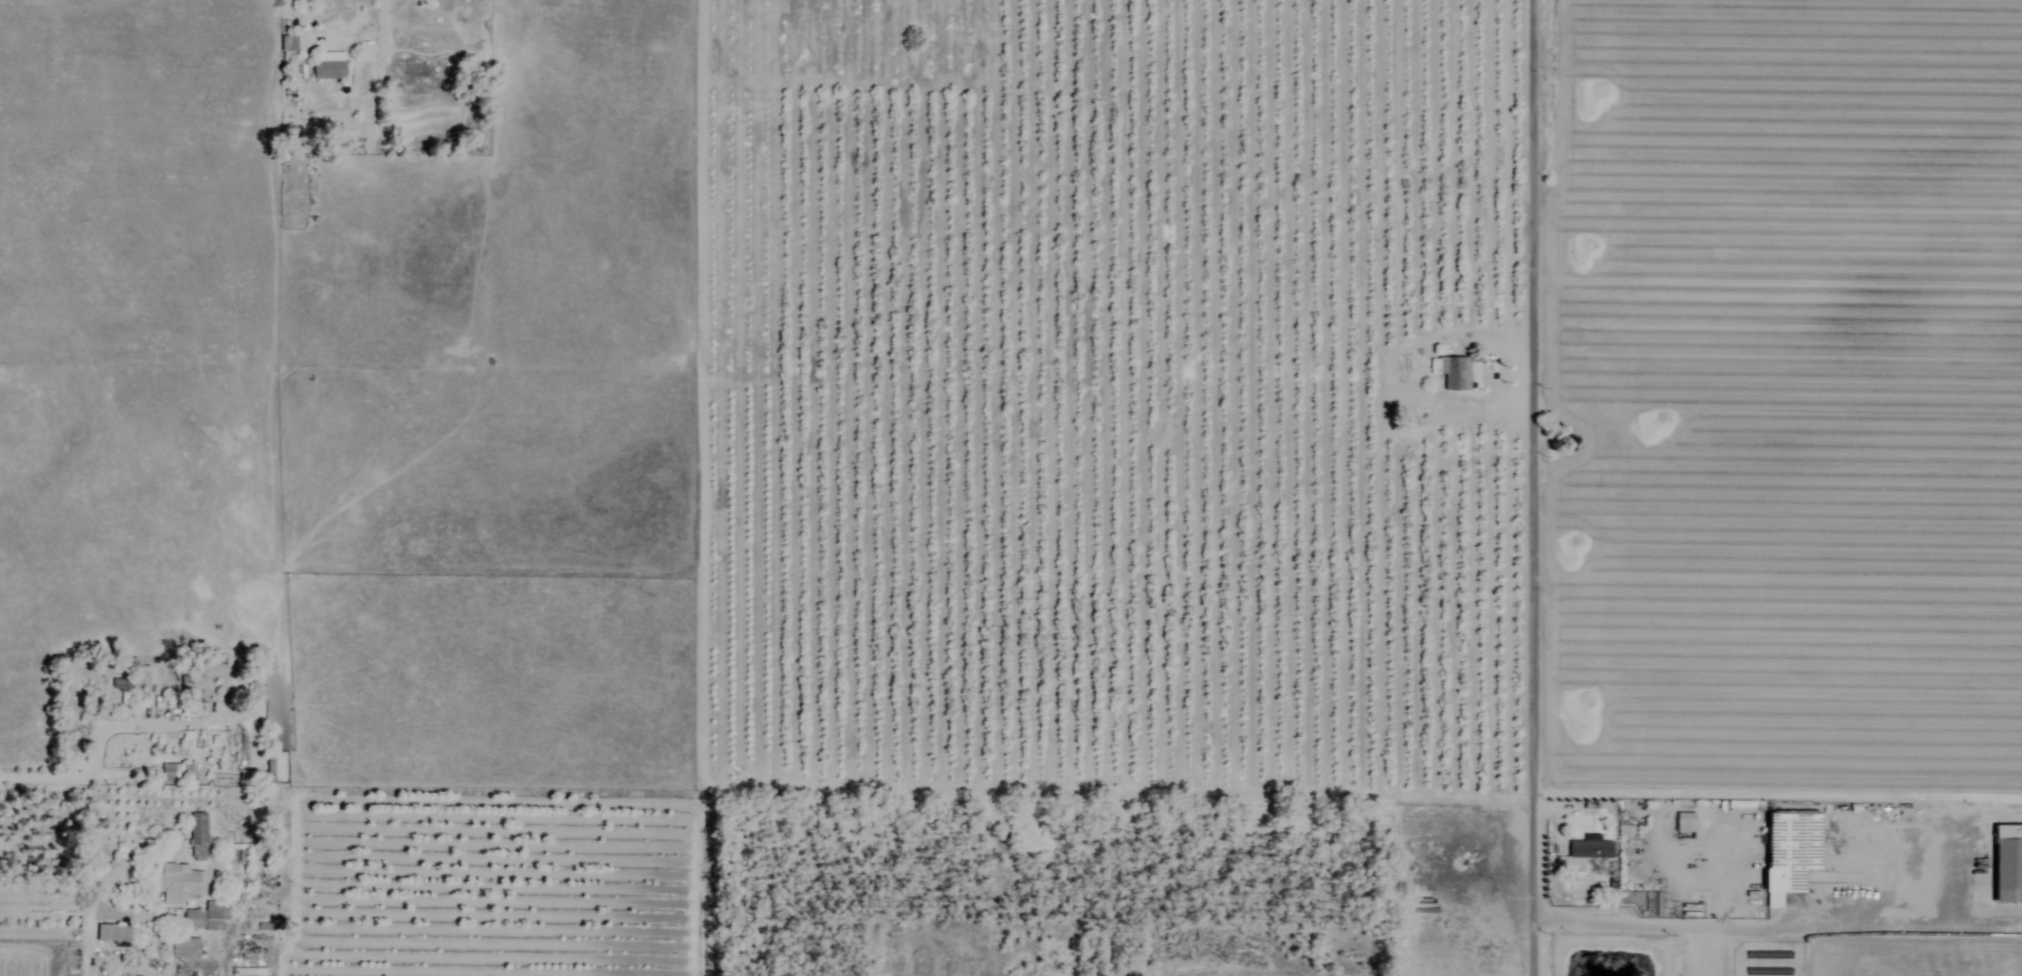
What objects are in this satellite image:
building: (288, 43)
road: (377, 54)
building: (328, 66)
building: (415, 71)
building: (1455, 373)
crop: (1362, 399)
building: (1573, 434)
road: (1536, 487)
building: (119, 691)
road: (114, 727)
building: (269, 765)
building: (178, 772)
building: (1685, 822)
building: (1486, 825)
building: (198, 837)
building: (1590, 848)
building: (1787, 853)
building: (2006, 864)
road: (75, 881)
building: (179, 883)
building: (407, 887)
building: (205, 918)
road: (1769, 930)
building: (113, 932)
building: (186, 948)
crop: (1870, 958)

